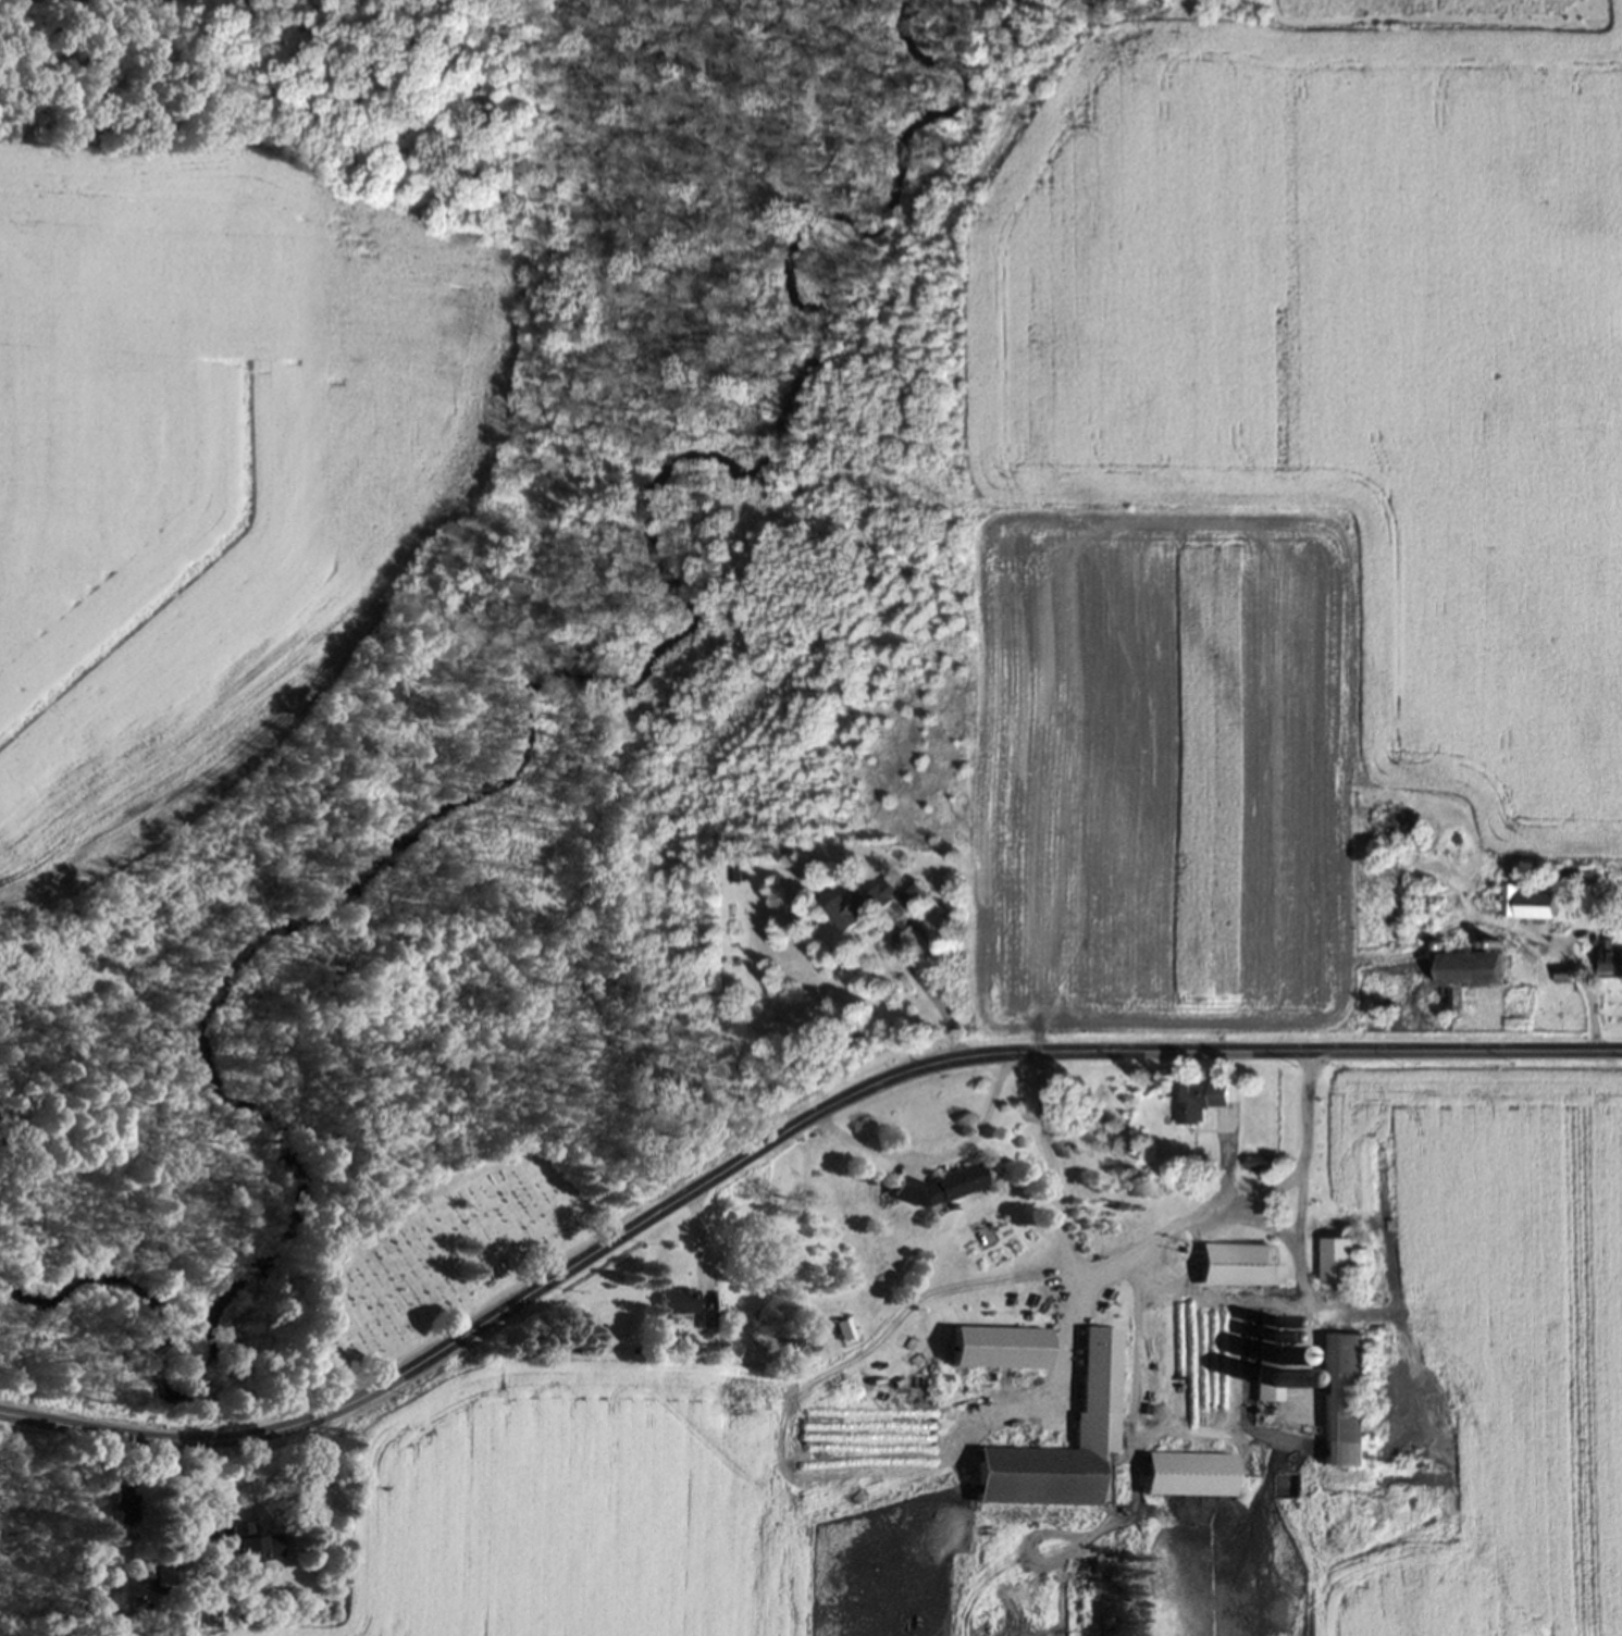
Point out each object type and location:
building: (1535, 903)
building: (857, 904)
building: (1610, 957)
building: (1474, 966)
building: (1198, 1096)
road: (778, 1139)
road: (937, 1157)
building: (949, 1182)
road: (1054, 1198)
road: (1298, 1212)
road: (1156, 1239)
building: (1339, 1257)
building: (1236, 1263)
building: (677, 1300)
building: (705, 1318)
building: (843, 1327)
building: (999, 1346)
building: (1095, 1386)
building: (1342, 1398)
building: (1186, 1473)
building: (122, 1503)
building: (251, 1546)
building: (144, 1567)
building: (166, 1567)
building: (112, 1589)

